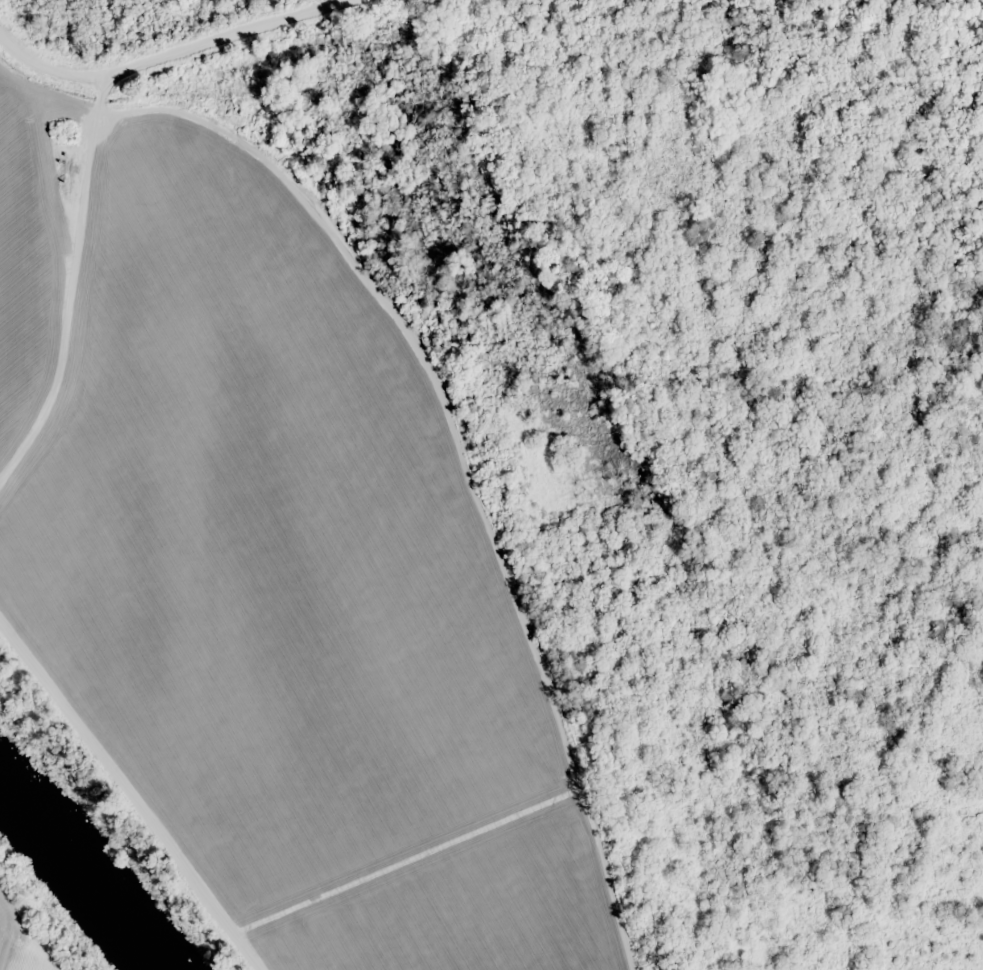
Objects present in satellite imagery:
river: (83, 869)

